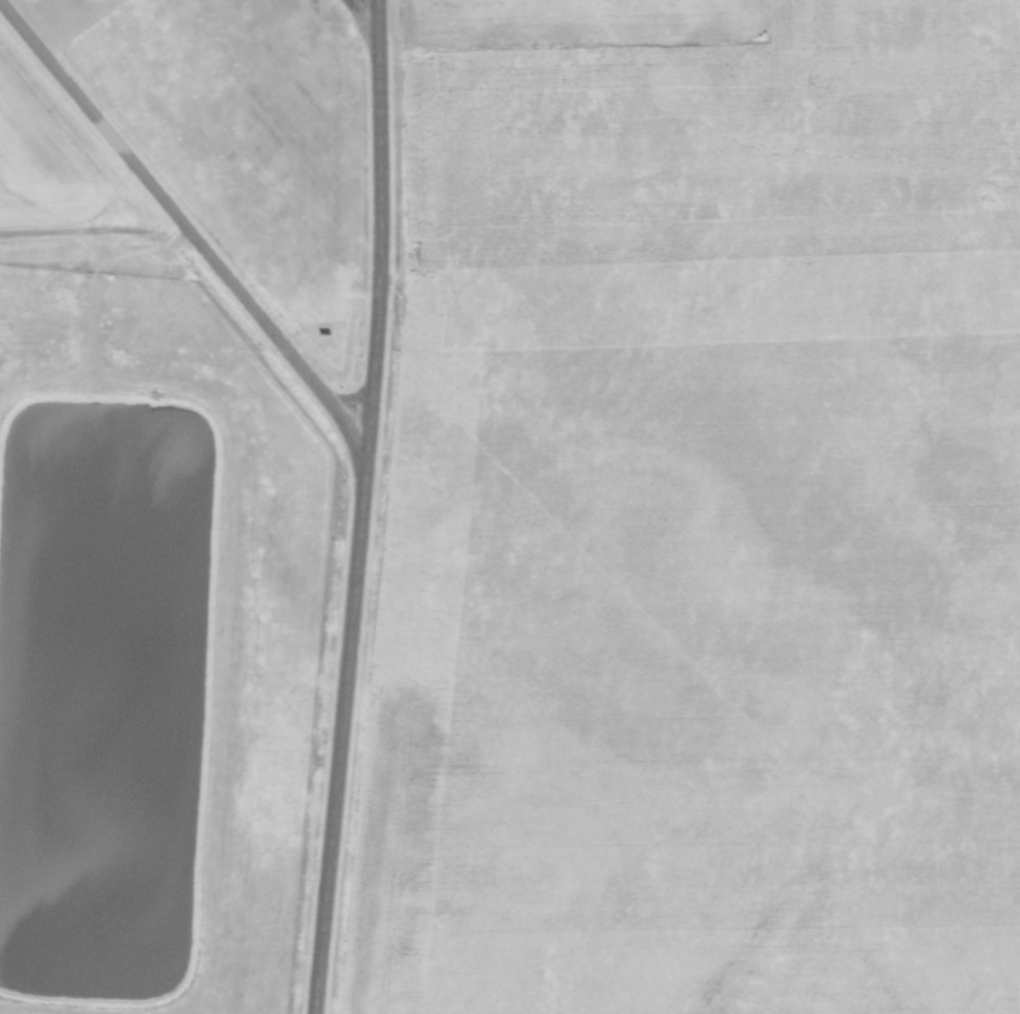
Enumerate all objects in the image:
road: (364, 17)
road: (183, 223)
road: (364, 507)

